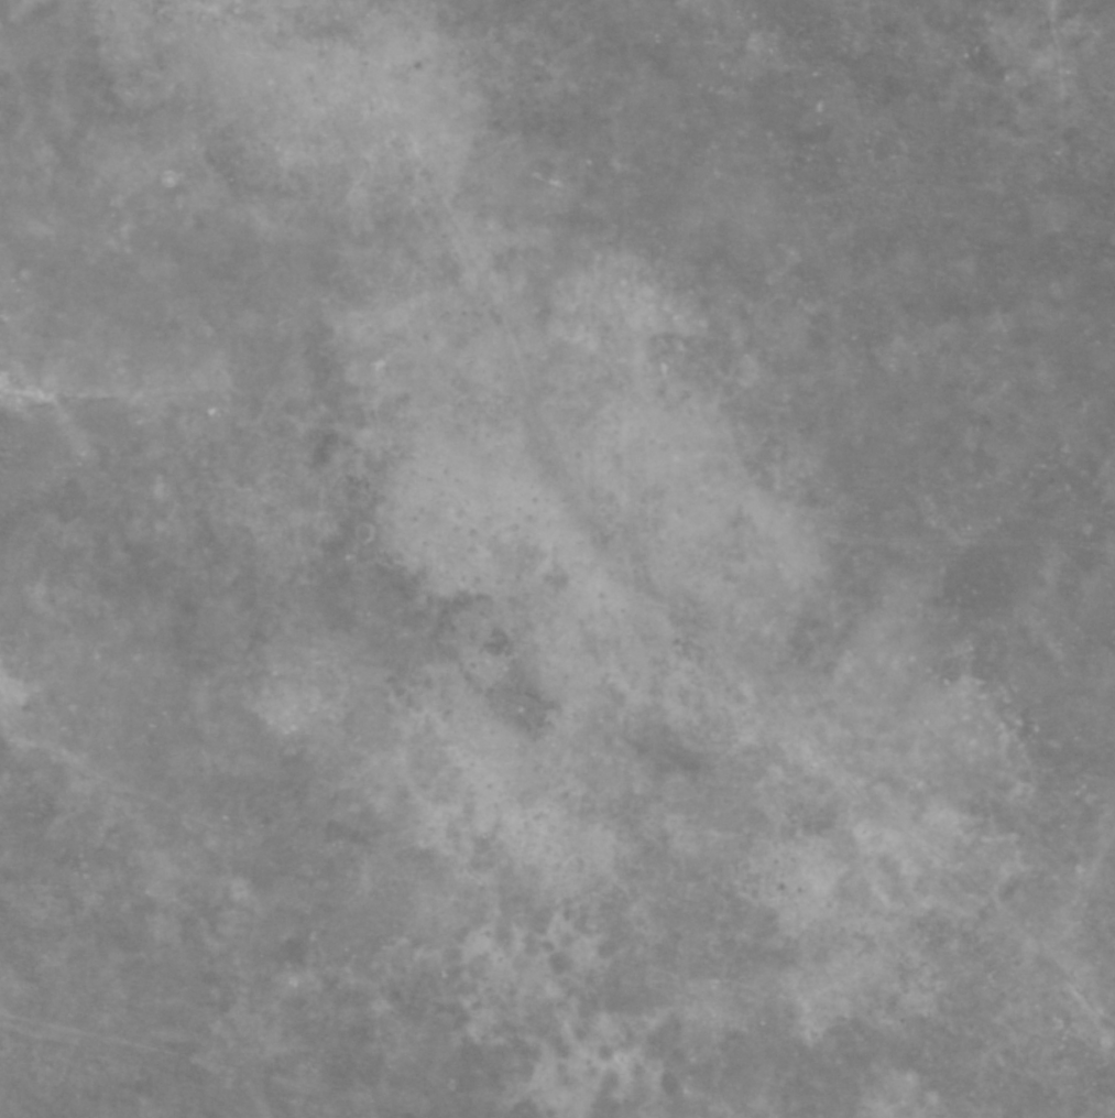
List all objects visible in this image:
road: (652, 522)

